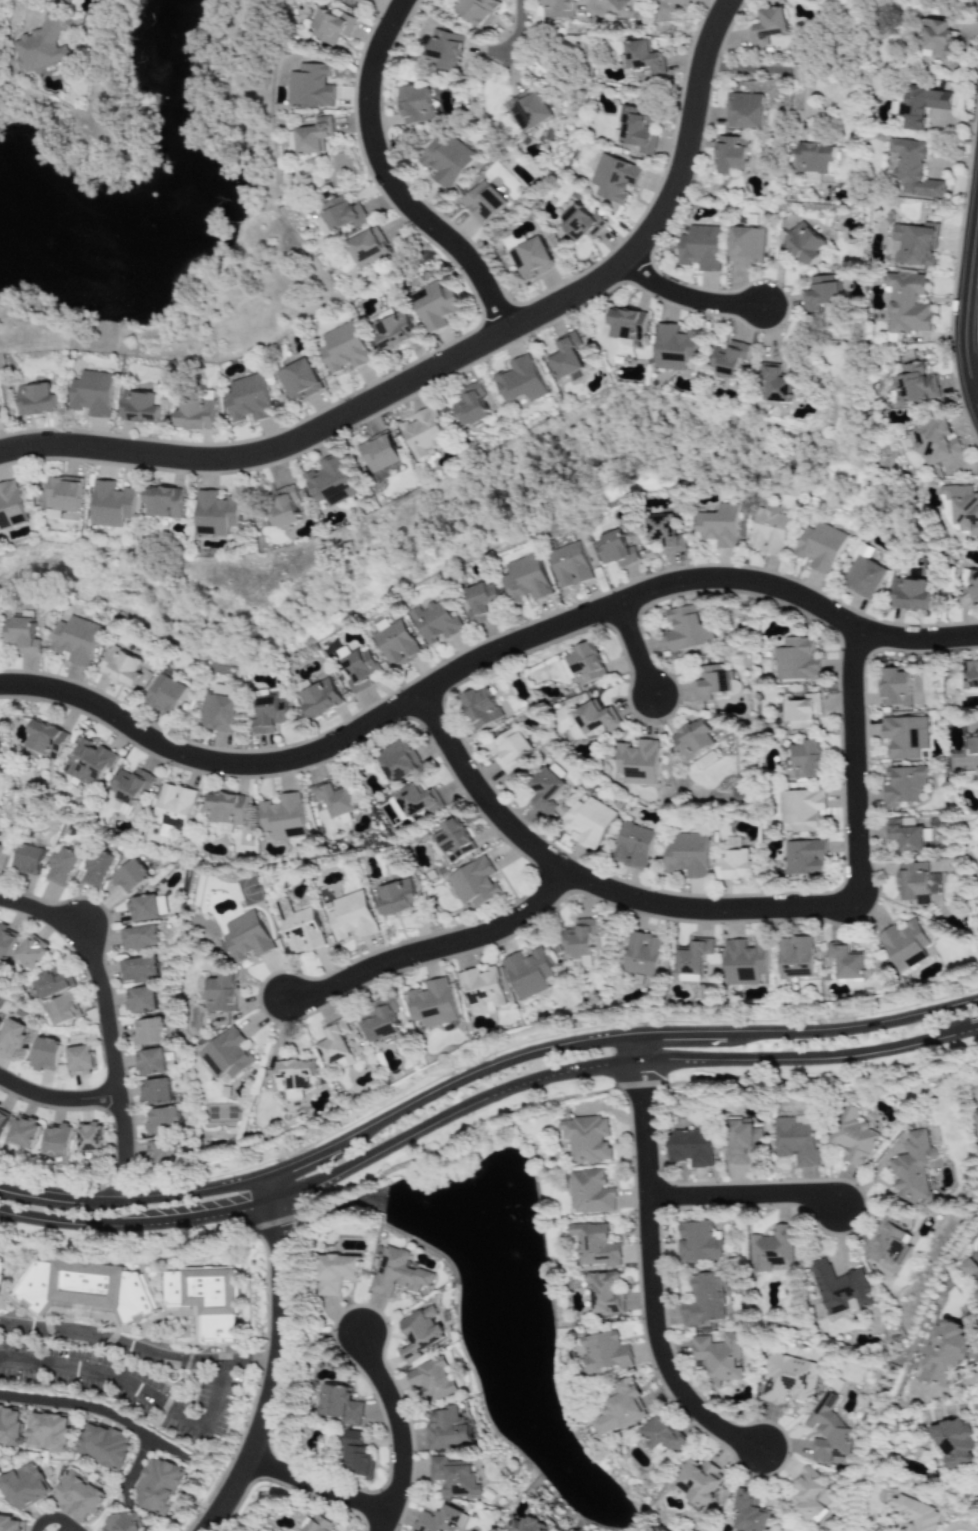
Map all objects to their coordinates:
building: (70, 1)
building: (361, 1)
building: (680, 3)
building: (618, 4)
road: (595, 6)
building: (558, 9)
building: (479, 11)
road: (32, 12)
building: (332, 27)
building: (768, 27)
road: (523, 30)
building: (936, 40)
building: (46, 44)
building: (445, 50)
building: (643, 58)
road: (788, 73)
building: (311, 86)
building: (415, 105)
building: (922, 105)
building: (526, 110)
building: (745, 111)
building: (314, 136)
building: (730, 155)
building: (814, 158)
building: (446, 161)
building: (914, 170)
building: (615, 178)
road: (390, 181)
building: (483, 203)
building: (344, 214)
building: (579, 224)
building: (804, 244)
building: (913, 244)
building: (745, 246)
building: (700, 248)
building: (369, 249)
building: (531, 259)
building: (820, 294)
road: (691, 300)
building: (906, 303)
building: (435, 306)
road: (968, 319)
building: (627, 324)
building: (393, 330)
building: (674, 348)
building: (343, 349)
building: (567, 356)
road: (458, 359)
building: (729, 360)
building: (299, 381)
building: (520, 381)
building: (774, 383)
building: (914, 385)
road: (976, 393)
building: (92, 394)
building: (249, 399)
building: (36, 400)
building: (472, 405)
building: (139, 408)
building: (195, 415)
building: (424, 433)
building: (934, 442)
building: (379, 453)
building: (330, 482)
building: (63, 494)
building: (163, 502)
building: (111, 504)
building: (10, 506)
building: (283, 508)
building: (215, 514)
building: (717, 526)
building: (767, 531)
building: (664, 533)
building: (819, 547)
building: (615, 550)
building: (569, 566)
building: (863, 575)
building: (526, 580)
building: (971, 584)
building: (909, 595)
building: (481, 601)
building: (435, 622)
building: (687, 630)
building: (24, 636)
building: (77, 640)
building: (396, 645)
road: (633, 648)
road: (480, 658)
building: (796, 661)
building: (586, 664)
building: (122, 667)
building: (567, 669)
building: (359, 670)
building: (970, 675)
building: (711, 682)
building: (895, 687)
building: (167, 694)
building: (320, 699)
building: (481, 708)
building: (801, 712)
building: (219, 714)
building: (270, 714)
building: (590, 720)
building: (905, 737)
building: (45, 739)
building: (693, 739)
building: (510, 750)
building: (806, 760)
building: (399, 761)
building: (89, 762)
building: (637, 763)
building: (903, 786)
building: (546, 789)
building: (129, 790)
building: (334, 799)
building: (418, 801)
building: (174, 806)
building: (396, 806)
building: (801, 809)
building: (226, 811)
building: (281, 816)
building: (588, 822)
building: (904, 835)
building: (454, 841)
building: (633, 846)
building: (687, 855)
building: (3, 858)
building: (805, 858)
building: (28, 860)
building: (734, 862)
building: (61, 867)
building: (96, 868)
building: (130, 877)
building: (474, 883)
building: (913, 883)
building: (397, 898)
building: (146, 908)
road: (726, 911)
building: (350, 917)
building: (299, 928)
building: (139, 937)
building: (246, 937)
building: (580, 939)
building: (5, 943)
building: (904, 945)
road: (433, 946)
building: (30, 955)
building: (642, 955)
building: (795, 958)
building: (693, 960)
building: (846, 961)
building: (744, 963)
building: (137, 970)
building: (527, 973)
building: (51, 986)
building: (481, 991)
building: (221, 994)
building: (140, 1000)
building: (432, 1004)
building: (62, 1012)
road: (109, 1021)
building: (381, 1025)
building: (149, 1032)
building: (11, 1039)
road: (610, 1039)
building: (335, 1047)
building: (43, 1055)
building: (226, 1057)
building: (78, 1062)
building: (149, 1064)
road: (614, 1068)
building: (293, 1078)
road: (769, 1083)
building: (154, 1093)
road: (58, 1101)
building: (3, 1118)
building: (975, 1119)
building: (160, 1122)
building: (21, 1136)
building: (852, 1137)
building: (586, 1139)
building: (89, 1141)
building: (796, 1141)
building: (741, 1142)
building: (55, 1143)
building: (691, 1148)
building: (161, 1155)
building: (913, 1168)
road: (272, 1190)
building: (591, 1193)
road: (742, 1197)
road: (134, 1200)
road: (138, 1228)
building: (698, 1242)
building: (888, 1243)
building: (595, 1245)
building: (771, 1250)
building: (1, 1266)
building: (968, 1267)
road: (646, 1268)
building: (336, 1273)
building: (398, 1274)
building: (840, 1289)
building: (86, 1290)
building: (605, 1293)
building: (203, 1300)
building: (704, 1300)
road: (14, 1326)
building: (421, 1333)
road: (124, 1349)
building: (606, 1352)
building: (945, 1355)
building: (717, 1358)
road: (276, 1376)
building: (431, 1380)
building: (785, 1380)
building: (342, 1405)
building: (620, 1410)
road: (95, 1413)
road: (158, 1413)
building: (10, 1426)
building: (448, 1429)
building: (47, 1431)
road: (398, 1432)
building: (826, 1433)
building: (664, 1436)
building: (955, 1443)
building: (101, 1447)
building: (356, 1457)
road: (138, 1462)
building: (453, 1477)
building: (699, 1482)
building: (22, 1486)
building: (154, 1486)
road: (317, 1486)
building: (809, 1495)
building: (75, 1497)
building: (751, 1513)
building: (914, 1514)
building: (438, 1520)
building: (118, 1522)
building: (10, 1523)
road: (56, 1524)
building: (319, 1524)
building: (528, 1525)
building: (866, 1530)

